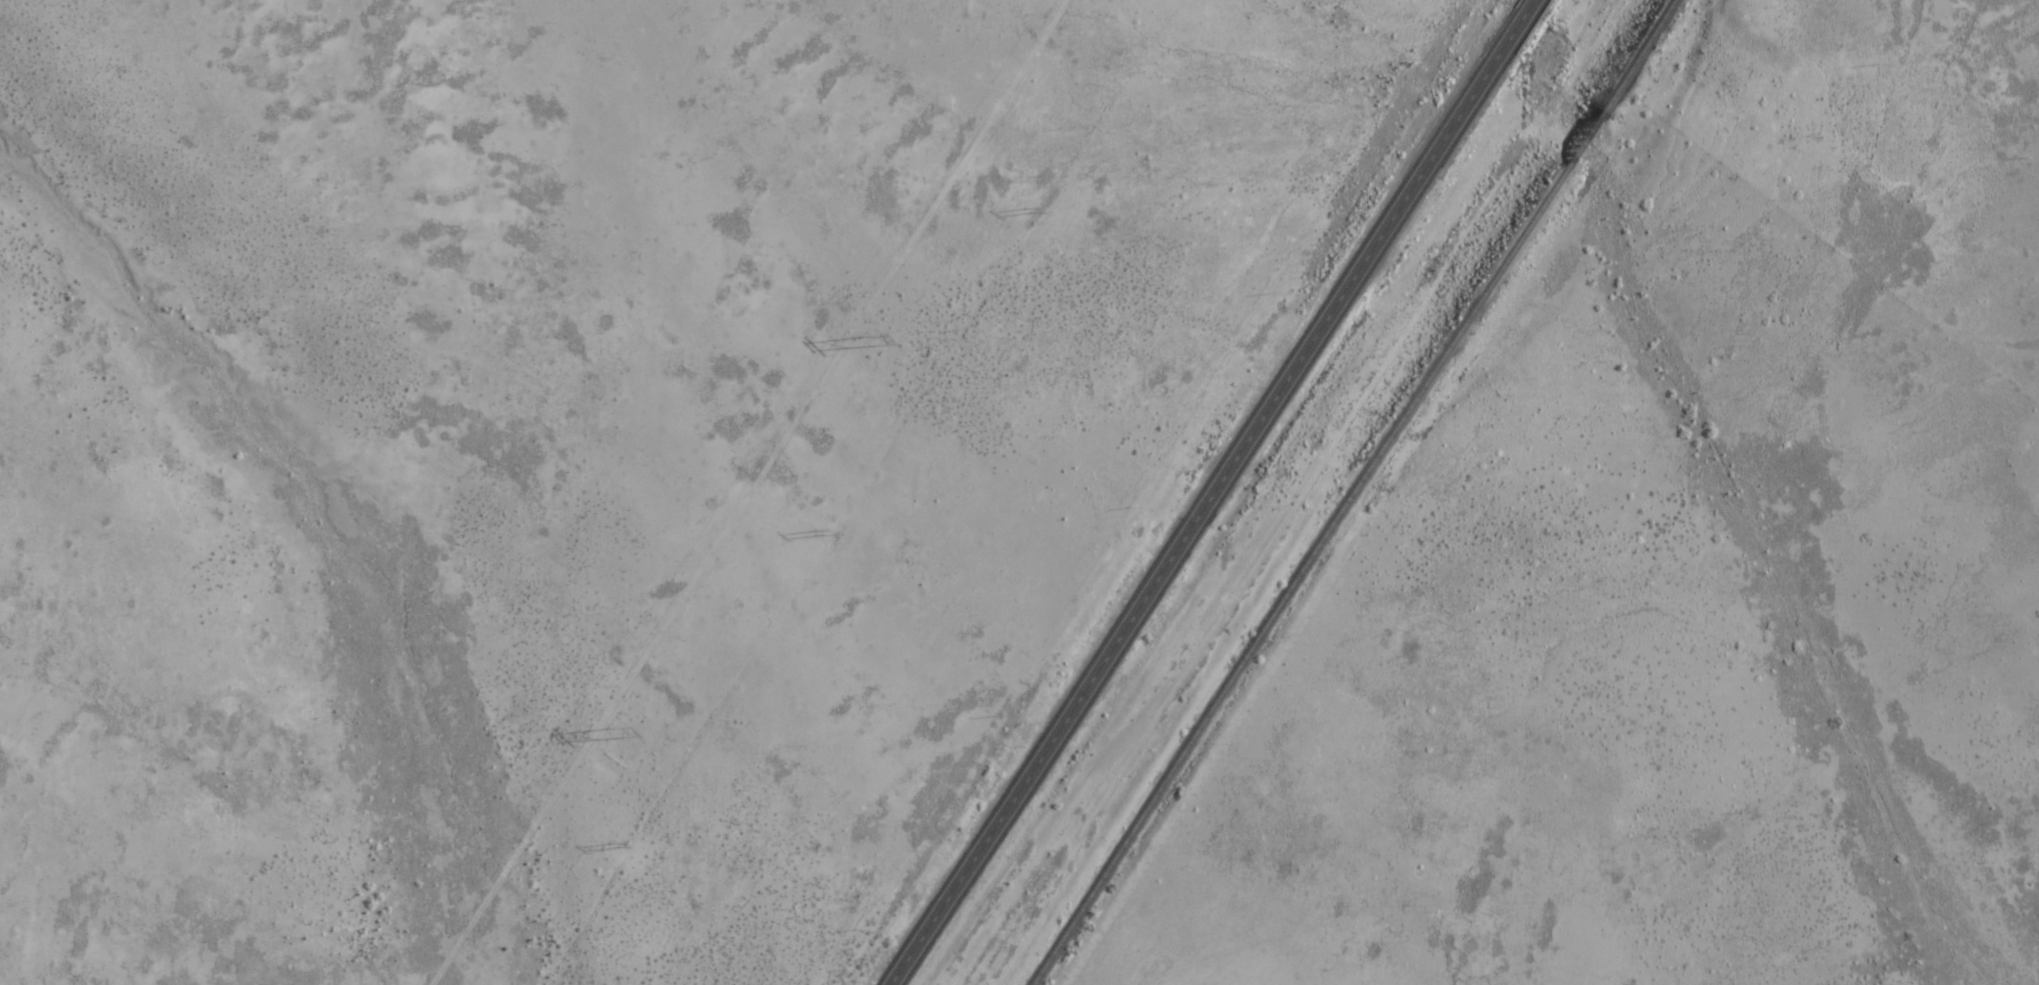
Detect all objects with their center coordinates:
power tower: (867, 334)
road: (1209, 492)
railway: (1351, 493)
power tower: (614, 730)

